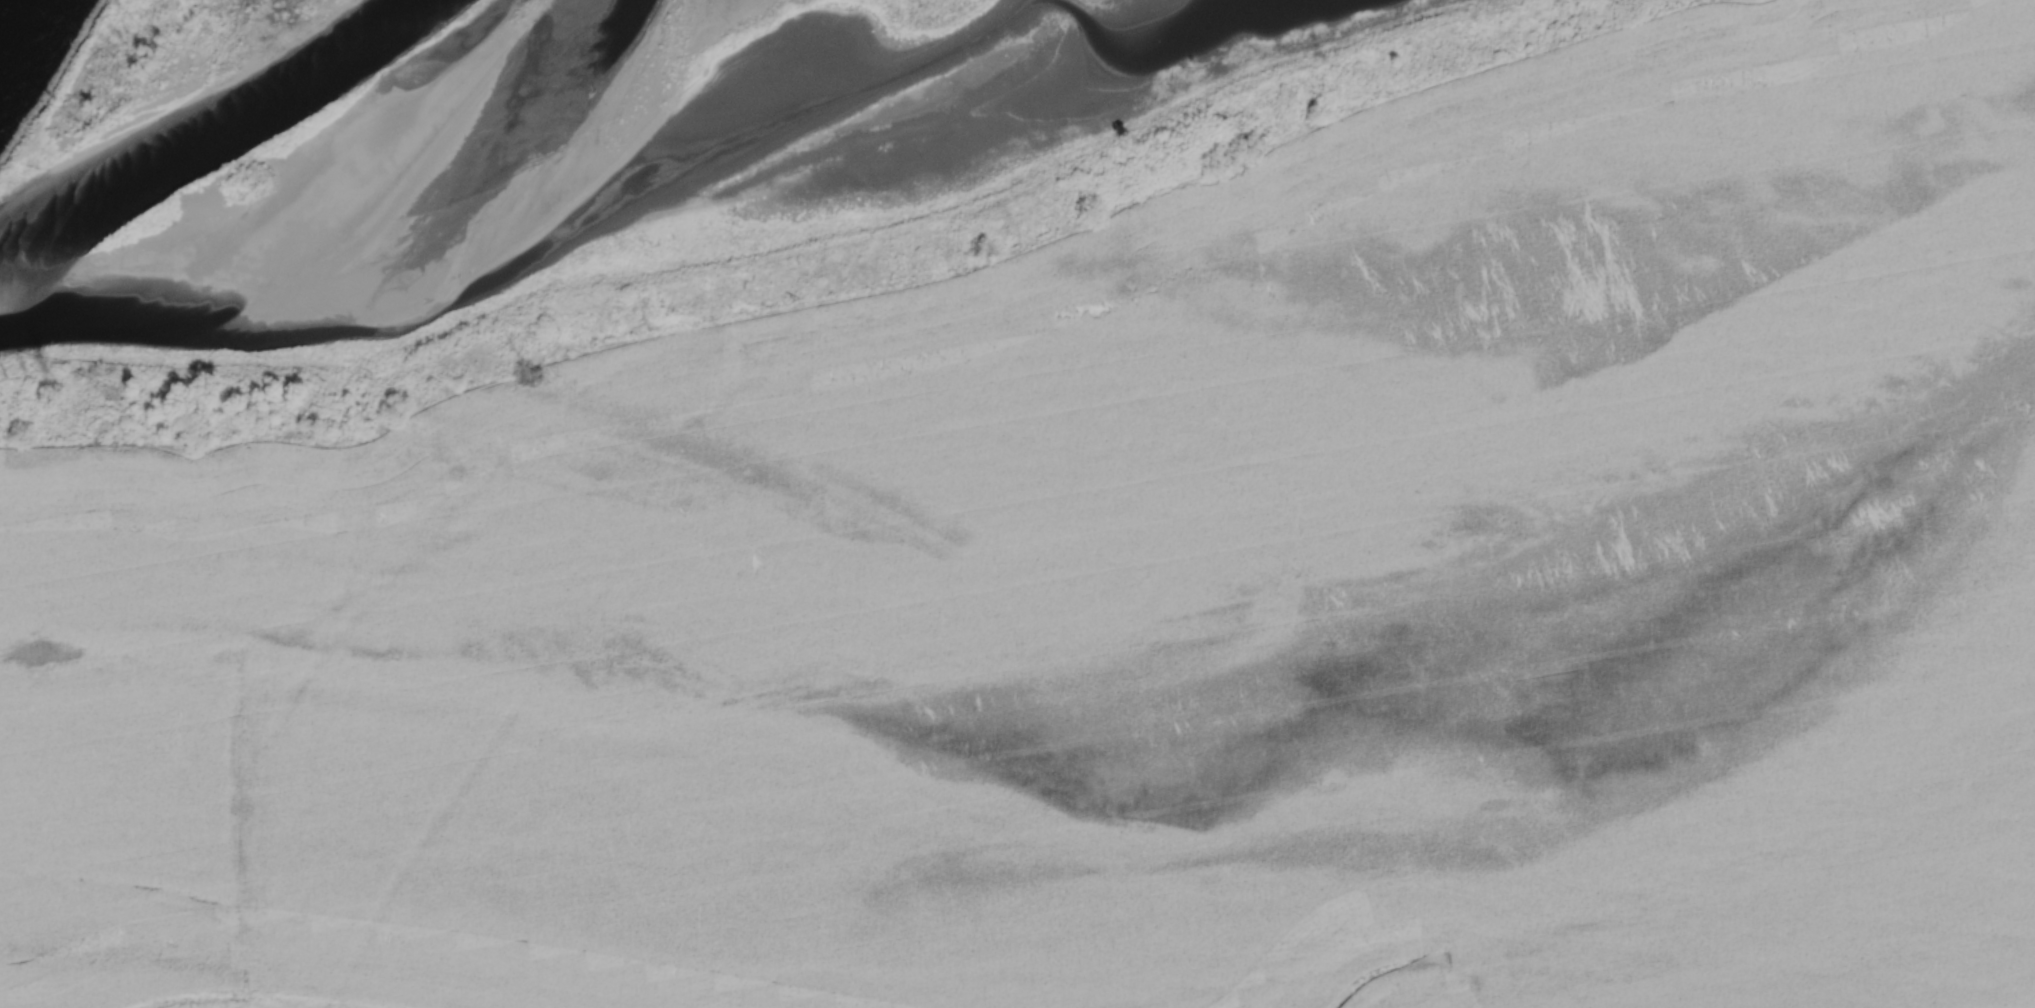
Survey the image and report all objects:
road: (902, 376)

